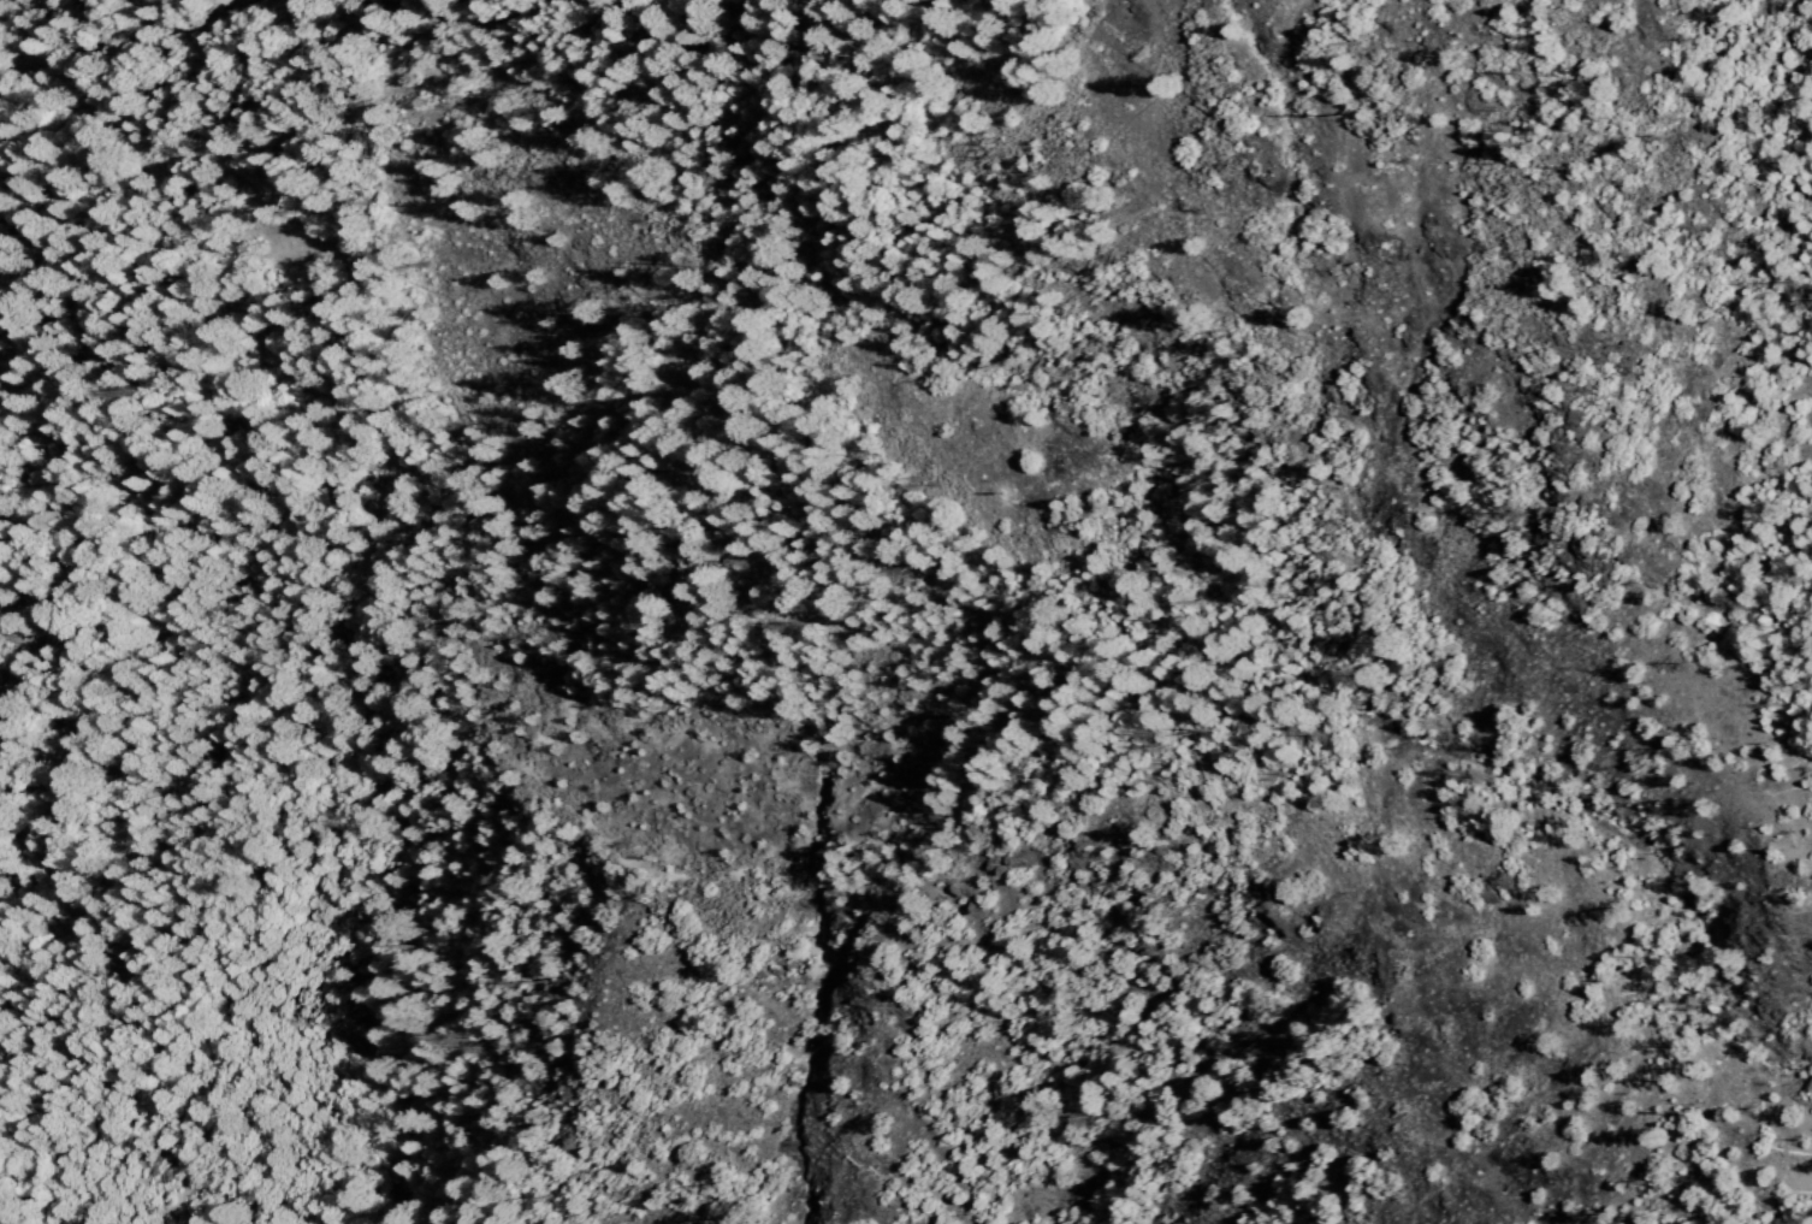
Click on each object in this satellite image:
road: (123, 36)

